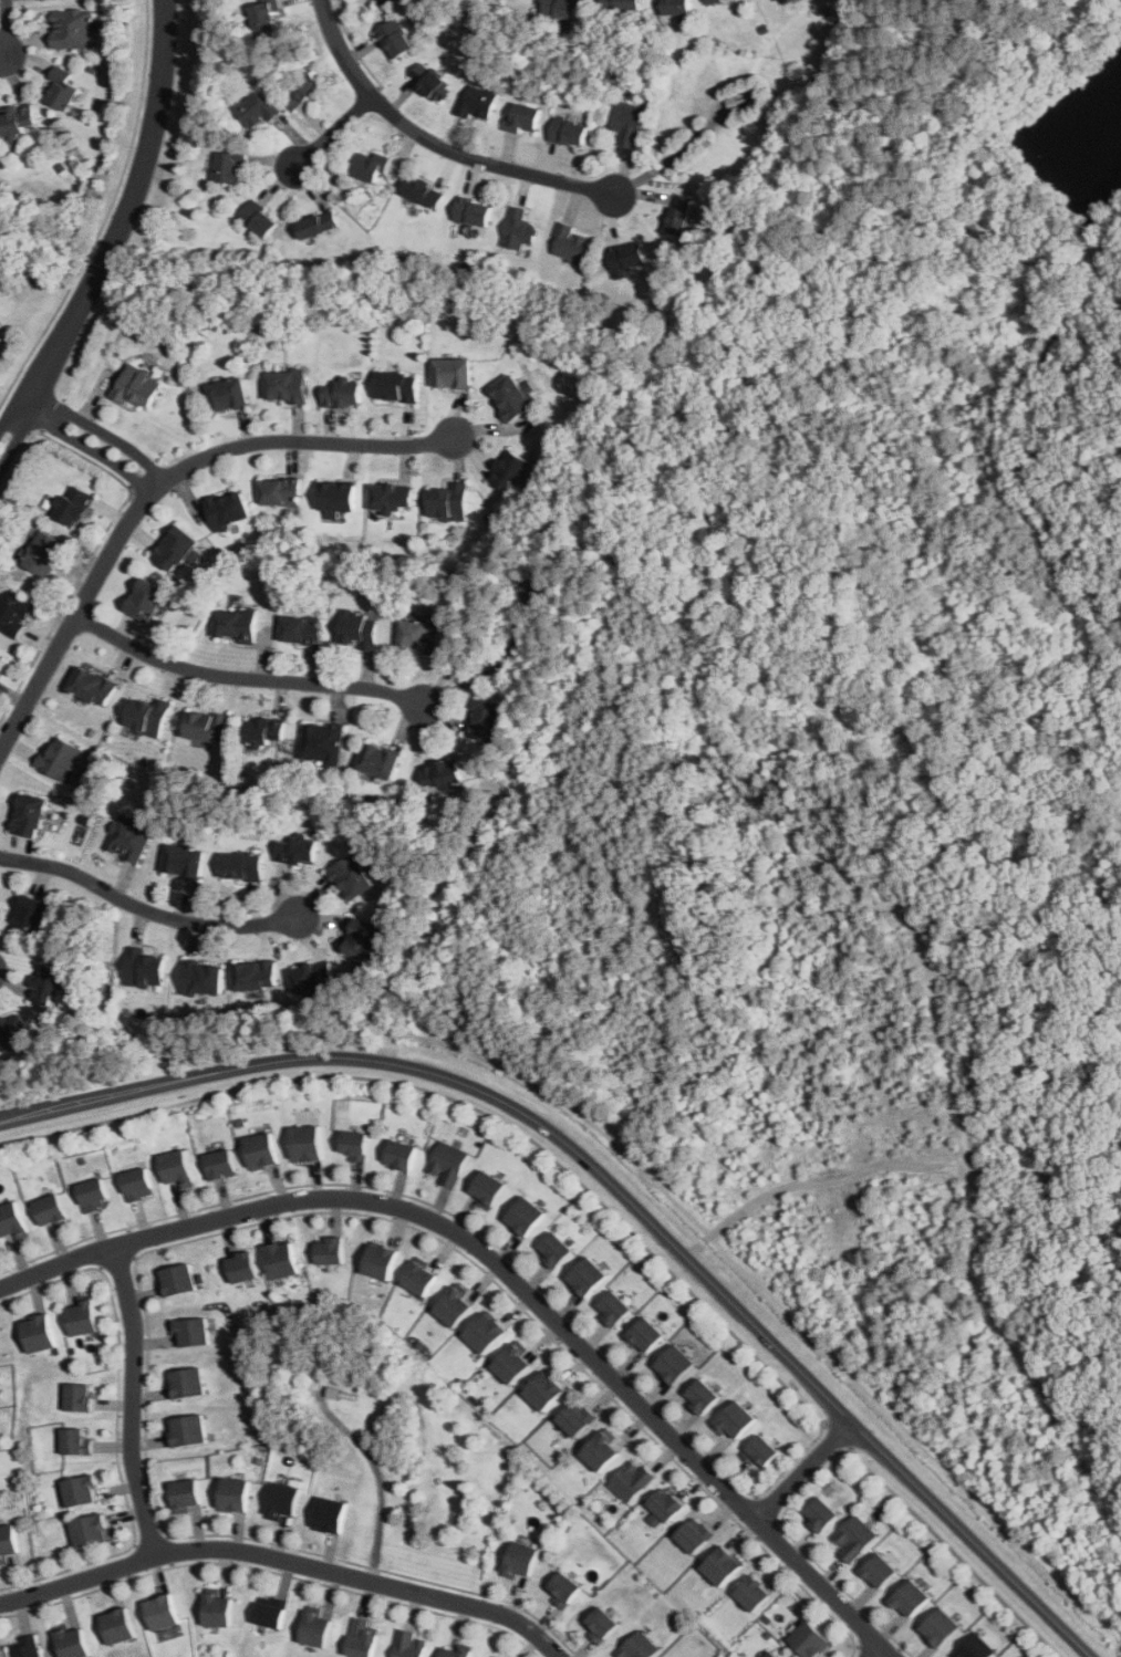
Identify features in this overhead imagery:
building: (385, 1)
building: (712, 1)
building: (780, 1)
building: (622, 4)
building: (675, 7)
building: (563, 8)
building: (264, 15)
road: (7, 28)
building: (73, 29)
building: (396, 40)
building: (432, 83)
building: (62, 87)
building: (302, 91)
building: (477, 102)
building: (257, 111)
building: (523, 118)
building: (15, 121)
building: (627, 123)
road: (334, 133)
building: (569, 133)
road: (435, 143)
building: (228, 166)
building: (369, 169)
road: (141, 177)
building: (423, 192)
building: (473, 212)
road: (108, 215)
building: (679, 215)
building: (259, 220)
building: (316, 226)
building: (519, 230)
road: (1063, 236)
building: (569, 243)
building: (627, 258)
building: (454, 373)
road: (28, 383)
building: (397, 386)
building: (138, 387)
building: (286, 387)
building: (228, 394)
building: (342, 394)
building: (512, 397)
road: (35, 408)
road: (1084, 415)
road: (98, 430)
road: (297, 440)
road: (84, 447)
building: (508, 470)
building: (280, 492)
building: (338, 497)
building: (392, 498)
building: (448, 502)
building: (74, 507)
building: (229, 510)
building: (176, 549)
building: (44, 553)
building: (148, 601)
building: (13, 613)
road: (74, 619)
building: (237, 625)
building: (301, 629)
building: (360, 629)
building: (419, 635)
building: (0, 657)
building: (0, 659)
road: (246, 678)
building: (92, 687)
building: (147, 718)
building: (485, 721)
building: (207, 727)
building: (266, 732)
building: (323, 743)
building: (61, 760)
building: (380, 762)
building: (442, 773)
building: (29, 817)
building: (129, 837)
building: (297, 851)
building: (185, 862)
building: (243, 867)
building: (352, 878)
road: (146, 909)
building: (30, 919)
building: (362, 941)
road: (727, 955)
building: (145, 968)
building: (256, 976)
building: (312, 977)
building: (203, 978)
building: (48, 986)
building: (12, 1031)
road: (467, 1104)
building: (307, 1144)
building: (354, 1145)
building: (216, 1147)
building: (262, 1151)
building: (401, 1156)
building: (448, 1164)
building: (221, 1165)
building: (178, 1169)
road: (838, 1178)
building: (137, 1185)
building: (487, 1189)
road: (620, 1189)
building: (93, 1195)
building: (50, 1209)
building: (525, 1216)
building: (12, 1221)
road: (471, 1226)
road: (222, 1231)
road: (697, 1247)
building: (554, 1249)
building: (331, 1250)
road: (128, 1257)
building: (282, 1260)
building: (381, 1262)
building: (241, 1267)
road: (507, 1274)
building: (588, 1276)
building: (419, 1279)
building: (176, 1280)
building: (456, 1305)
building: (614, 1309)
road: (1110, 1310)
building: (82, 1319)
building: (187, 1332)
building: (38, 1333)
building: (486, 1333)
building: (646, 1335)
building: (513, 1363)
building: (676, 1365)
building: (186, 1383)
building: (544, 1390)
road: (412, 1394)
building: (703, 1396)
building: (79, 1398)
road: (131, 1401)
building: (575, 1418)
building: (736, 1420)
road: (116, 1422)
building: (187, 1430)
road: (835, 1436)
building: (75, 1442)
building: (603, 1449)
building: (761, 1452)
road: (805, 1471)
road: (377, 1478)
building: (632, 1480)
building: (81, 1491)
building: (233, 1494)
building: (185, 1496)
building: (283, 1500)
building: (666, 1504)
road: (762, 1509)
building: (821, 1513)
building: (330, 1514)
building: (90, 1531)
building: (694, 1534)
road: (164, 1538)
building: (855, 1538)
building: (7, 1542)
road: (809, 1554)
road: (287, 1560)
building: (521, 1560)
building: (723, 1566)
building: (881, 1571)
road: (273, 1573)
building: (564, 1590)
building: (754, 1594)
building: (912, 1598)
building: (218, 1611)
building: (160, 1612)
building: (270, 1613)
building: (601, 1625)
building: (117, 1626)
building: (941, 1627)
building: (315, 1628)
building: (362, 1638)
building: (809, 1640)
building: (72, 1643)
building: (411, 1644)
building: (24, 1647)
building: (639, 1647)
building: (975, 1647)
building: (455, 1651)
road: (878, 1651)
road: (896, 1651)
building: (772, 1654)
road: (860, 1654)
building: (495, 1656)

